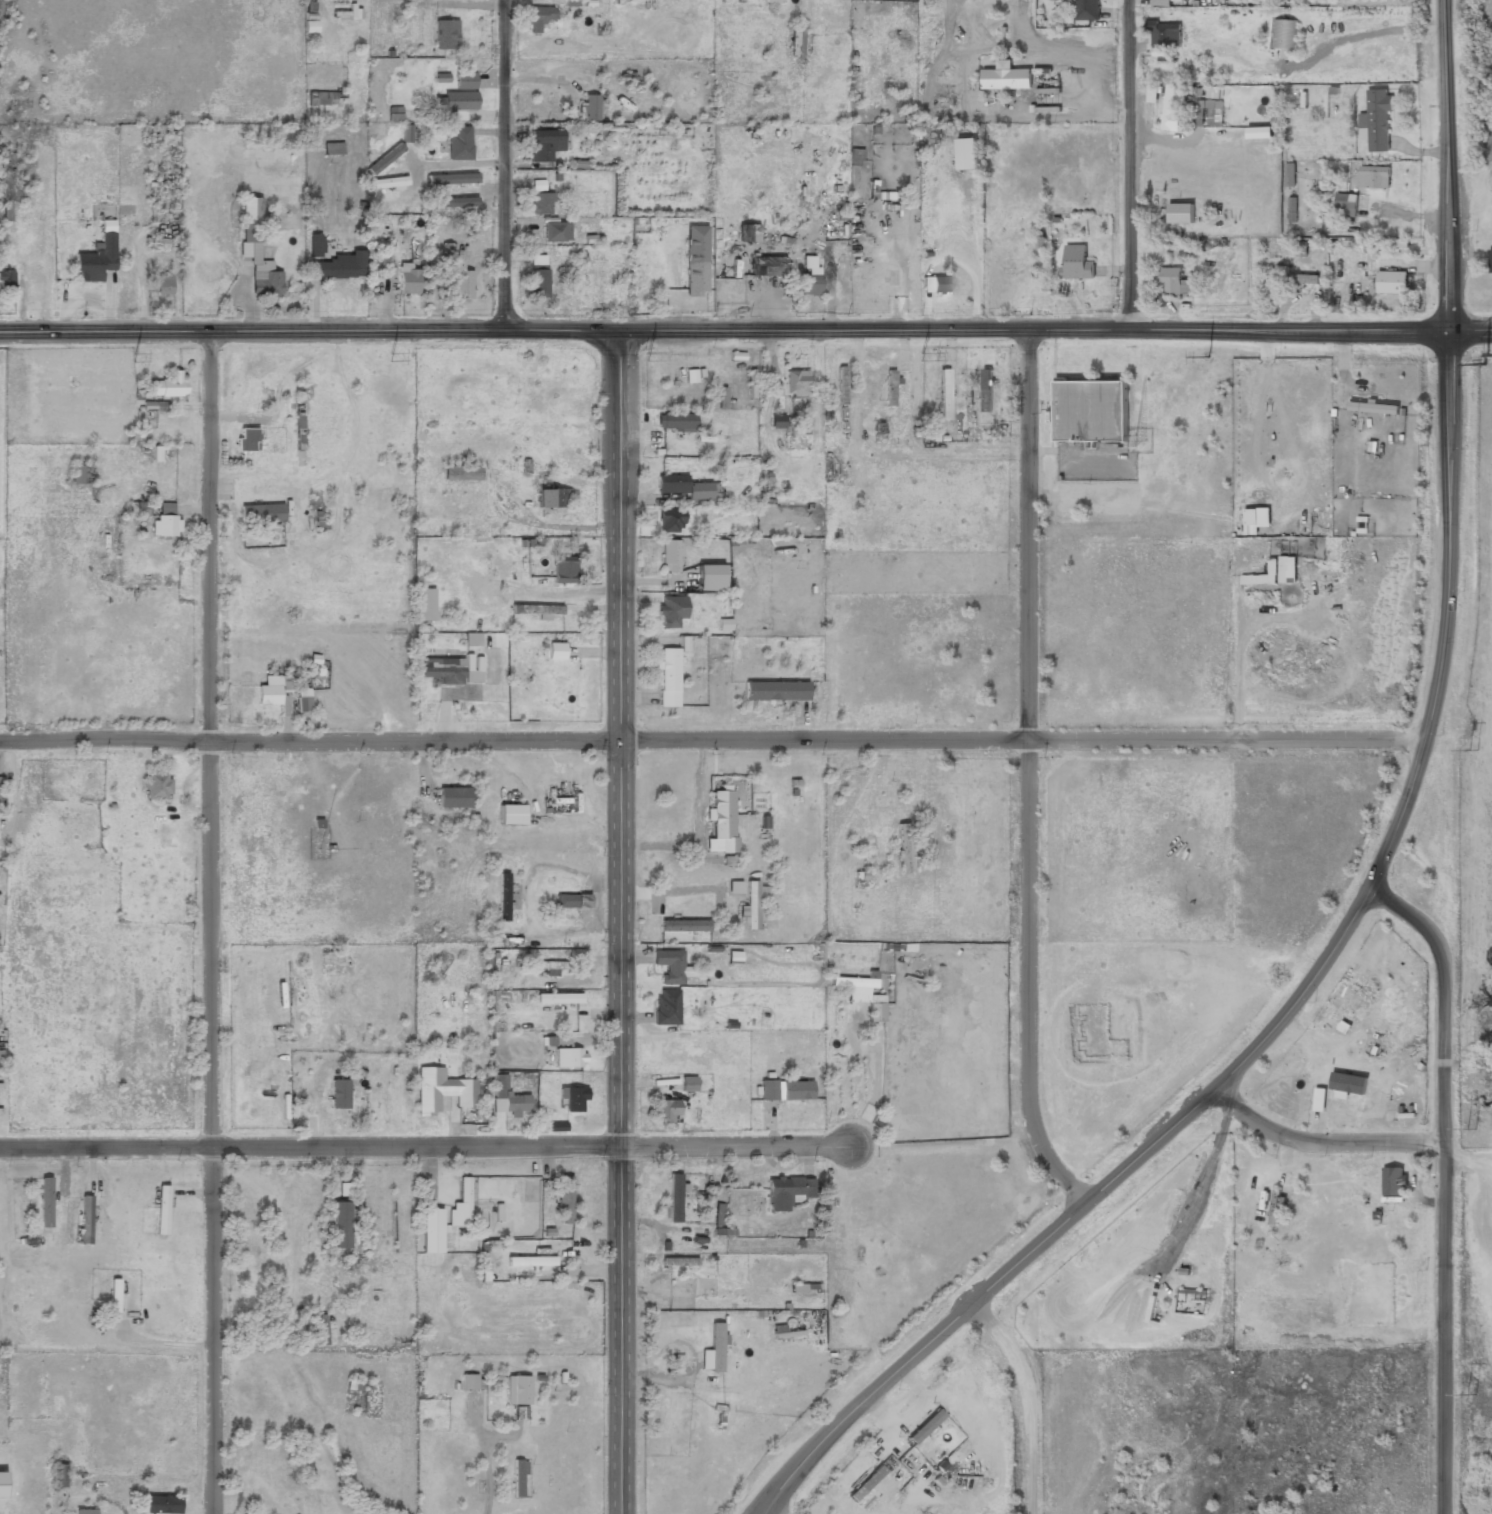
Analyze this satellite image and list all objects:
building: (771, 1)
building: (1162, 2)
building: (346, 10)
building: (1086, 10)
building: (538, 19)
building: (446, 34)
building: (1164, 34)
building: (1282, 35)
building: (795, 42)
building: (465, 80)
building: (1005, 80)
building: (1213, 92)
building: (1153, 93)
building: (326, 98)
building: (456, 101)
building: (589, 107)
building: (1171, 108)
building: (1207, 113)
building: (1376, 119)
building: (375, 129)
building: (406, 134)
building: (1259, 134)
building: (459, 143)
building: (544, 145)
building: (333, 148)
building: (277, 154)
building: (966, 155)
building: (855, 157)
building: (385, 158)
road: (506, 165)
road: (1132, 165)
building: (1289, 174)
building: (1374, 176)
building: (7, 177)
building: (451, 178)
building: (388, 182)
building: (456, 202)
building: (541, 203)
building: (1345, 204)
building: (1180, 212)
building: (556, 231)
building: (748, 233)
building: (316, 244)
building: (256, 253)
building: (96, 259)
building: (1491, 260)
building: (537, 261)
building: (1077, 262)
building: (337, 267)
building: (382, 267)
building: (766, 267)
building: (694, 273)
building: (807, 278)
building: (1295, 279)
building: (407, 280)
building: (1175, 281)
building: (1392, 281)
building: (462, 283)
building: (538, 283)
building: (6, 284)
building: (163, 285)
building: (935, 286)
road: (746, 331)
power tower: (134, 357)
power tower: (390, 357)
power tower: (920, 357)
power tower: (1207, 357)
power tower: (646, 358)
power tower: (1485, 364)
building: (795, 384)
building: (168, 385)
building: (841, 386)
building: (890, 389)
building: (985, 390)
building: (944, 395)
building: (721, 398)
building: (1374, 409)
building: (1090, 410)
building: (675, 422)
building: (299, 425)
building: (246, 441)
building: (699, 442)
road: (1074, 450)
road: (1448, 450)
building: (78, 474)
building: (461, 474)
building: (681, 487)
building: (549, 494)
building: (138, 510)
building: (262, 513)
building: (1251, 516)
building: (165, 521)
building: (670, 521)
building: (670, 557)
building: (563, 570)
building: (1271, 573)
building: (709, 578)
building: (423, 605)
building: (536, 610)
building: (671, 615)
building: (471, 640)
building: (555, 652)
building: (442, 669)
building: (472, 676)
building: (667, 678)
building: (270, 692)
building: (775, 692)
building: (304, 707)
road: (712, 739)
power tower: (1473, 751)
road: (1029, 774)
building: (0, 782)
building: (156, 787)
building: (454, 799)
building: (511, 815)
building: (721, 823)
building: (903, 849)
building: (735, 887)
building: (502, 898)
building: (571, 902)
building: (750, 906)
road: (619, 922)
road: (208, 923)
building: (683, 926)
building: (733, 957)
building: (669, 966)
building: (547, 970)
building: (852, 983)
building: (558, 999)
building: (666, 1008)
building: (875, 1013)
building: (561, 1041)
building: (568, 1059)
road: (1244, 1059)
building: (687, 1085)
building: (1361, 1086)
building: (786, 1091)
building: (442, 1092)
building: (338, 1099)
building: (572, 1099)
building: (508, 1101)
building: (666, 1112)
power tower: (1470, 1129)
road: (1321, 1142)
road: (423, 1145)
building: (1393, 1182)
road: (1444, 1184)
building: (785, 1192)
building: (672, 1198)
building: (564, 1200)
building: (44, 1204)
building: (460, 1206)
building: (162, 1209)
building: (1274, 1209)
building: (717, 1215)
building: (86, 1220)
building: (341, 1226)
building: (430, 1232)
building: (529, 1262)
building: (668, 1263)
building: (680, 1288)
building: (804, 1288)
building: (722, 1293)
building: (114, 1297)
building: (325, 1332)
building: (713, 1351)
road: (917, 1352)
building: (468, 1382)
building: (517, 1392)
power tower: (1471, 1395)
road: (1028, 1400)
building: (925, 1426)
building: (59, 1477)
building: (516, 1479)
building: (2, 1484)
building: (275, 1485)
building: (158, 1505)
road: (768, 1511)
building: (85, 1512)

